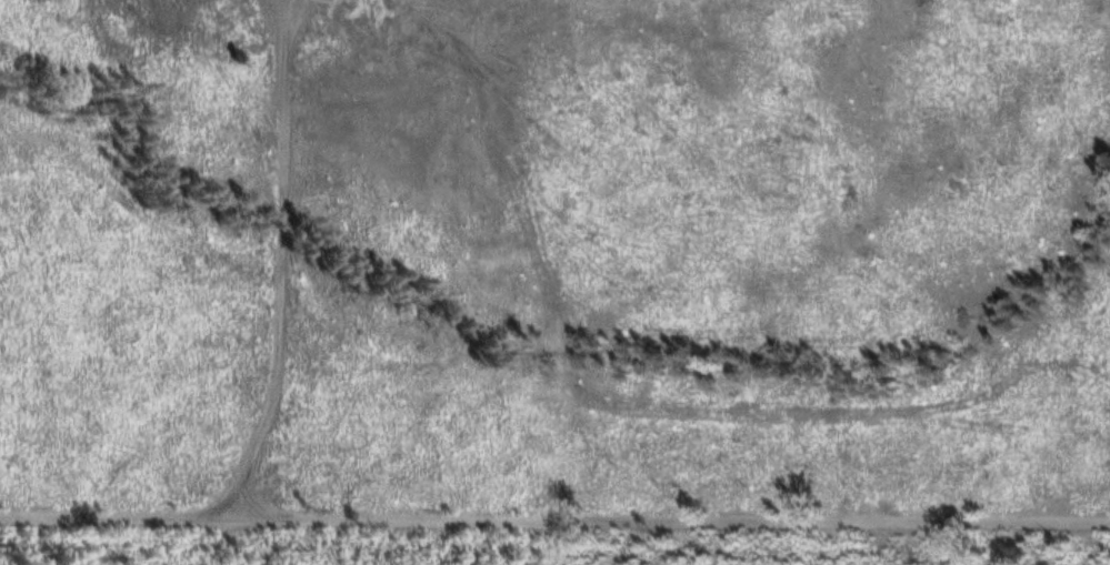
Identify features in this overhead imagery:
road: (926, 263)
road: (283, 266)
road: (518, 344)
road: (554, 523)
road: (46, 543)

